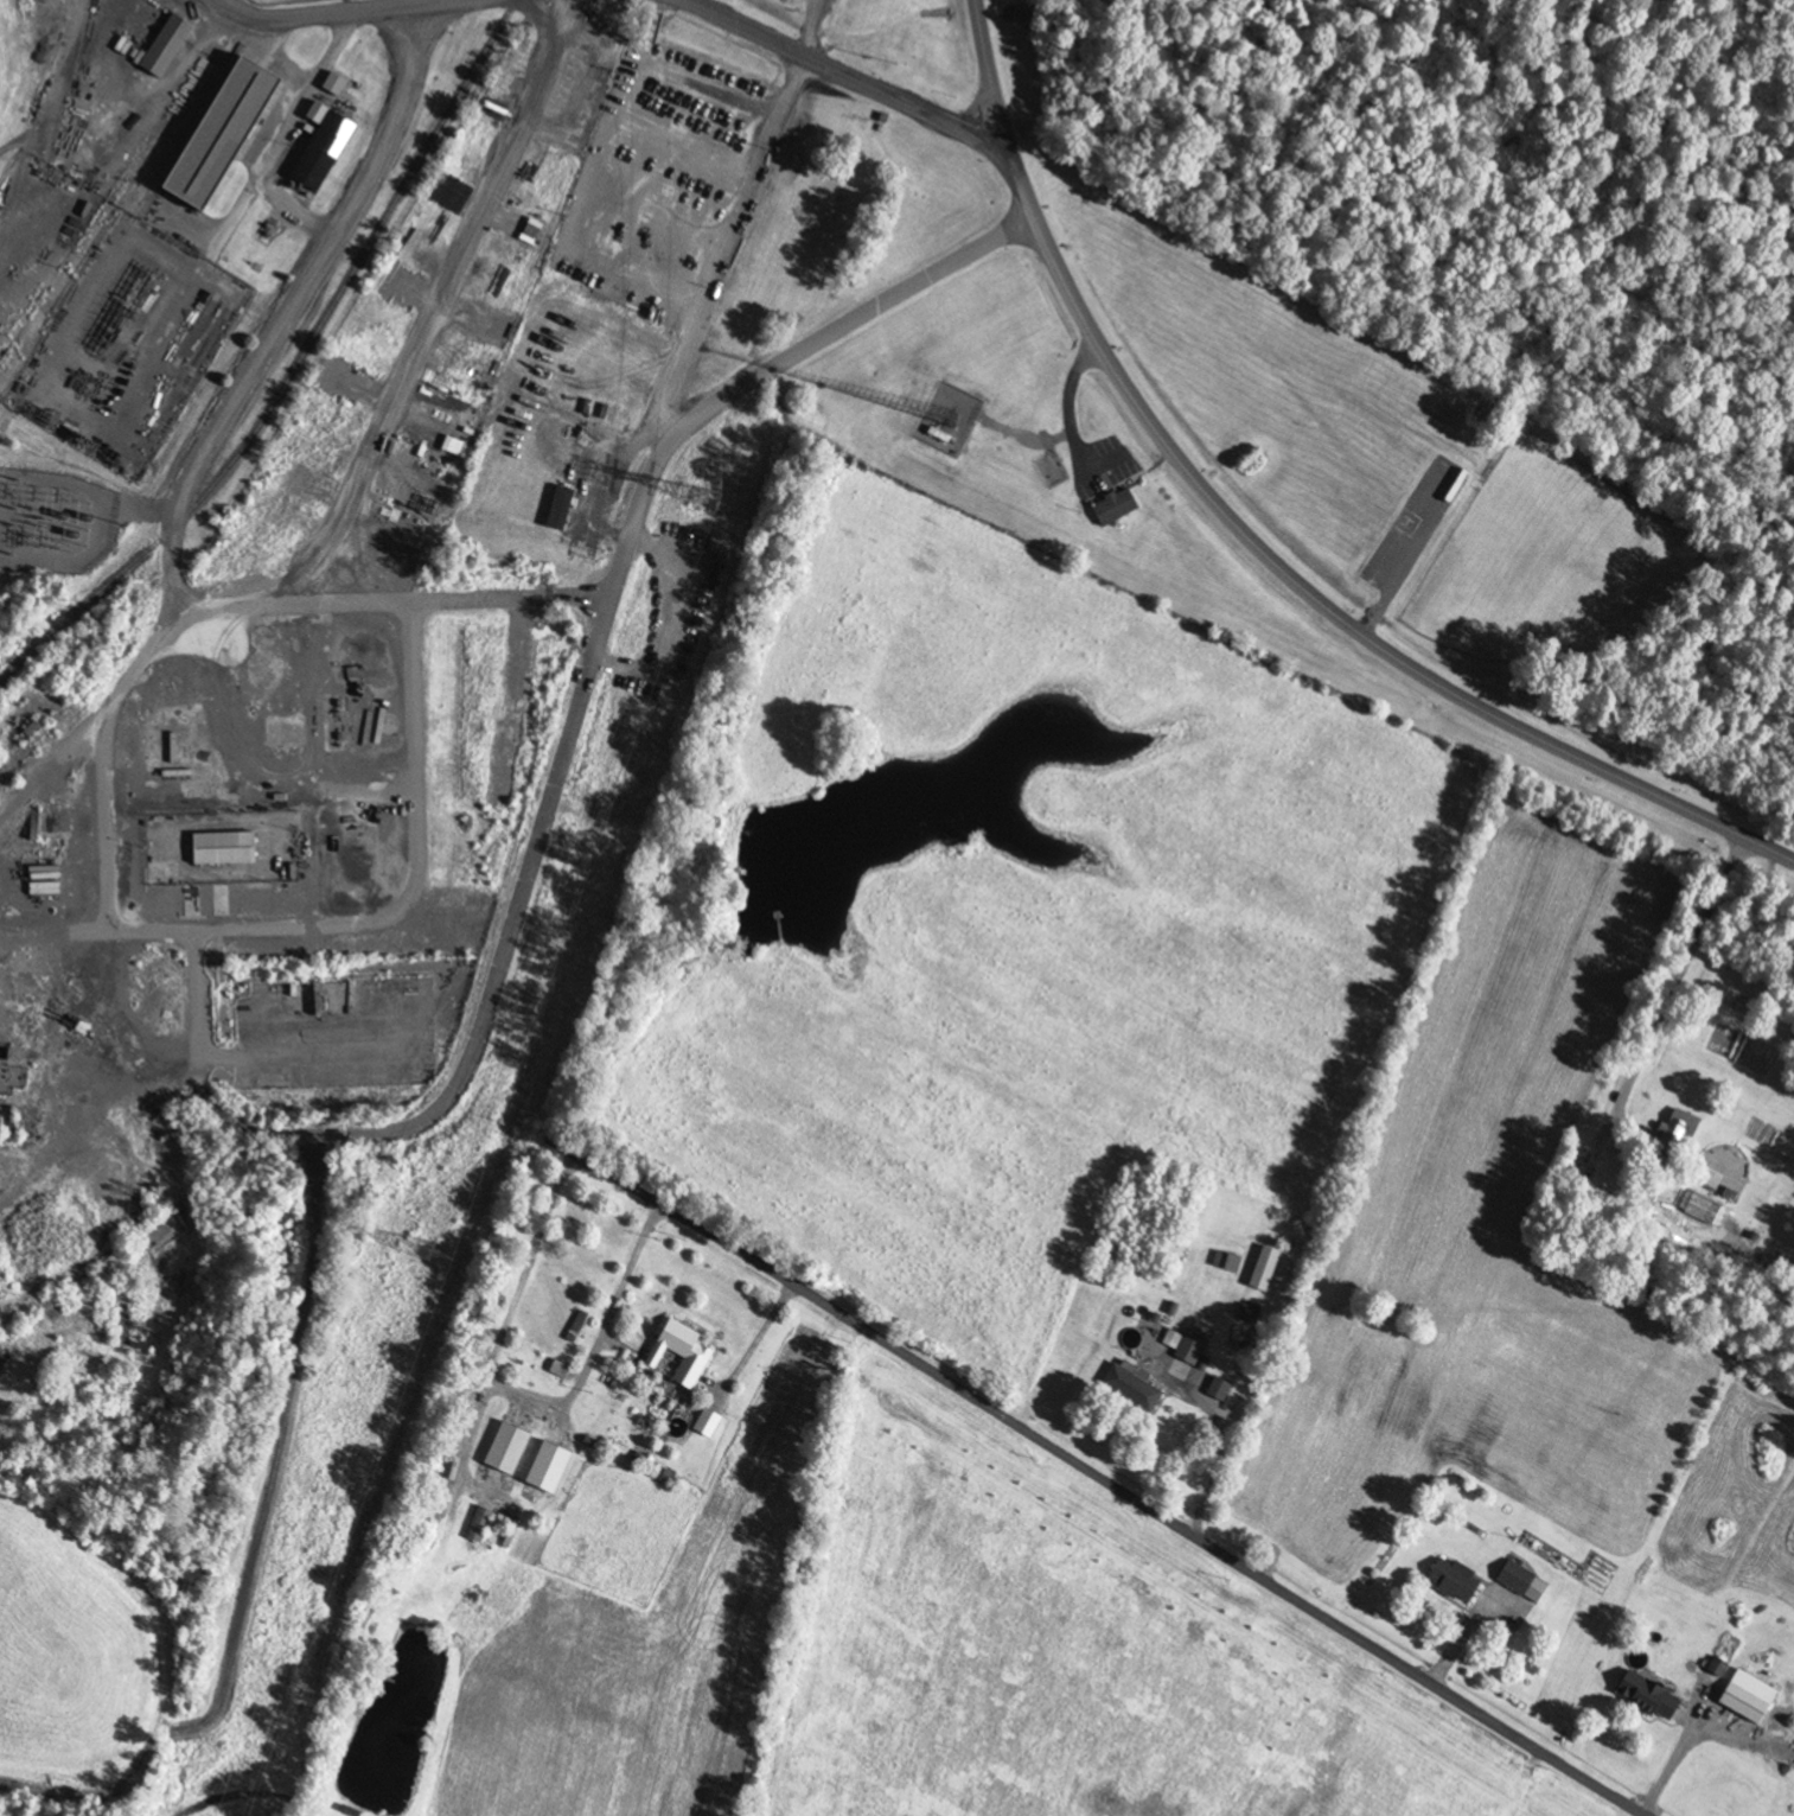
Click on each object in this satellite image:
power substation: (277, 2)
road: (398, 8)
road: (273, 13)
building: (165, 46)
road: (826, 65)
building: (222, 134)
building: (323, 149)
road: (601, 149)
road: (228, 224)
road: (722, 240)
railway: (293, 369)
road: (612, 459)
power tower: (702, 495)
building: (1115, 506)
road: (634, 518)
road: (1258, 542)
road: (1679, 977)
road: (468, 1058)
building: (1675, 1136)
power tower: (426, 1250)
building: (1225, 1262)
building: (1264, 1269)
building: (1249, 1314)
building: (1243, 1342)
building: (681, 1355)
building: (1132, 1389)
building: (1219, 1390)
building: (707, 1425)
building: (506, 1449)
building: (548, 1468)
road: (1102, 1476)
building: (479, 1525)
building: (1518, 1579)
building: (1455, 1581)
building: (1651, 1696)
building: (1745, 1703)

